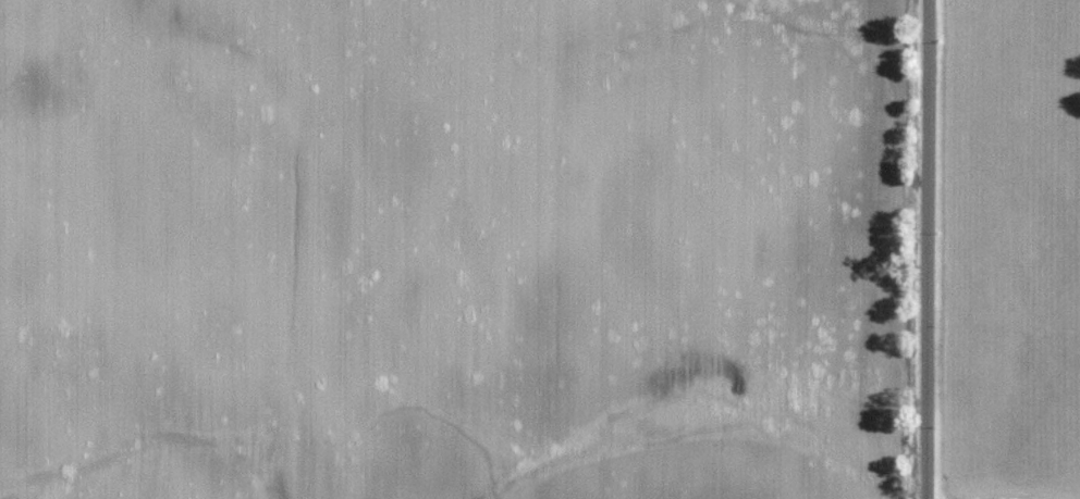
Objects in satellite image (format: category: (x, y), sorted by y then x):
road: (930, 249)

